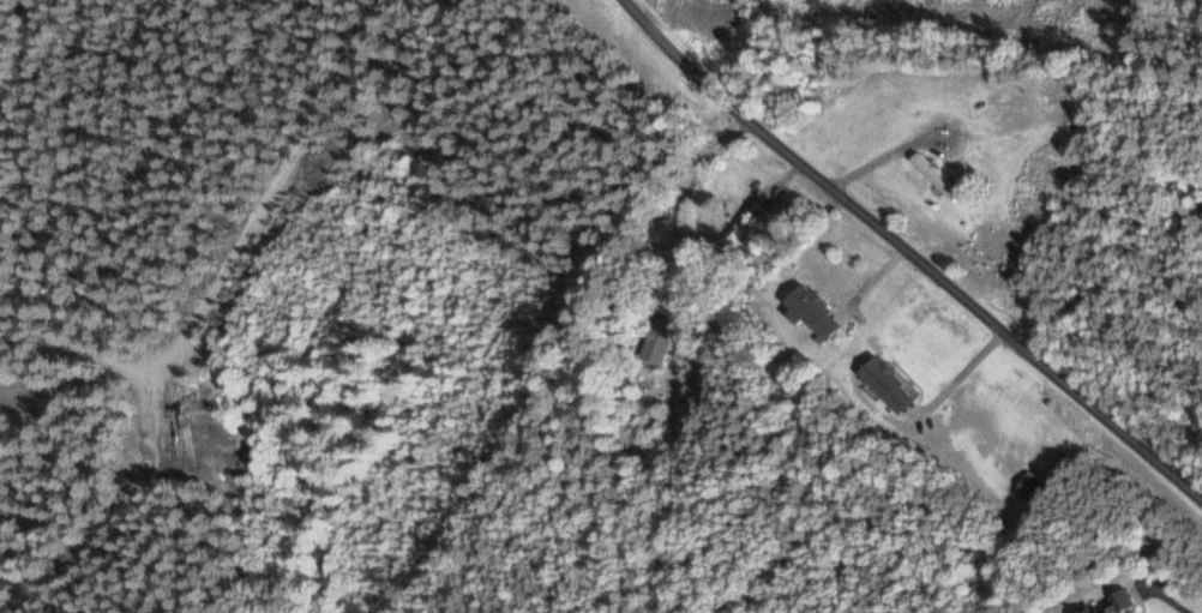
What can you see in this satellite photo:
building: (934, 178)
road: (906, 256)
building: (813, 312)
building: (656, 339)
building: (888, 384)
building: (1033, 488)
road: (847, 491)
road: (1135, 555)
road: (1173, 603)

